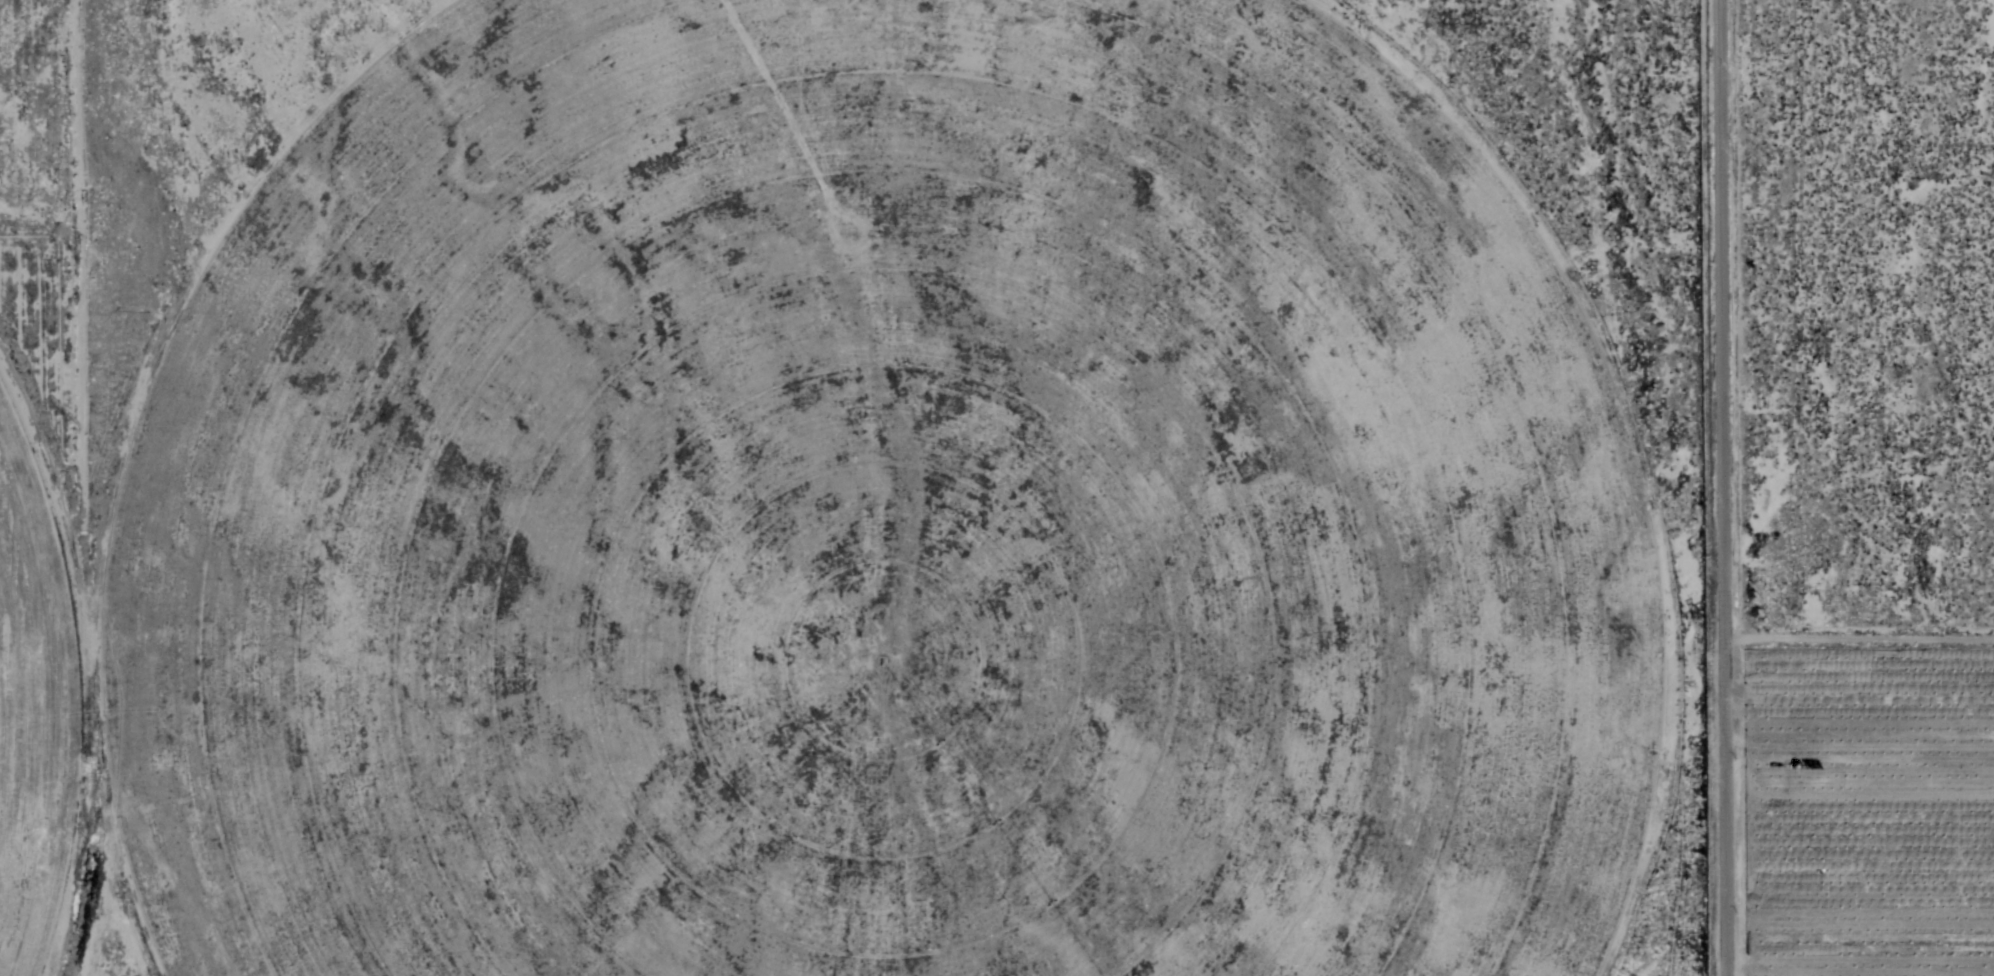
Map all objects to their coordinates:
road: (35, 488)
road: (1715, 488)
crop: (855, 522)
road: (1855, 636)

